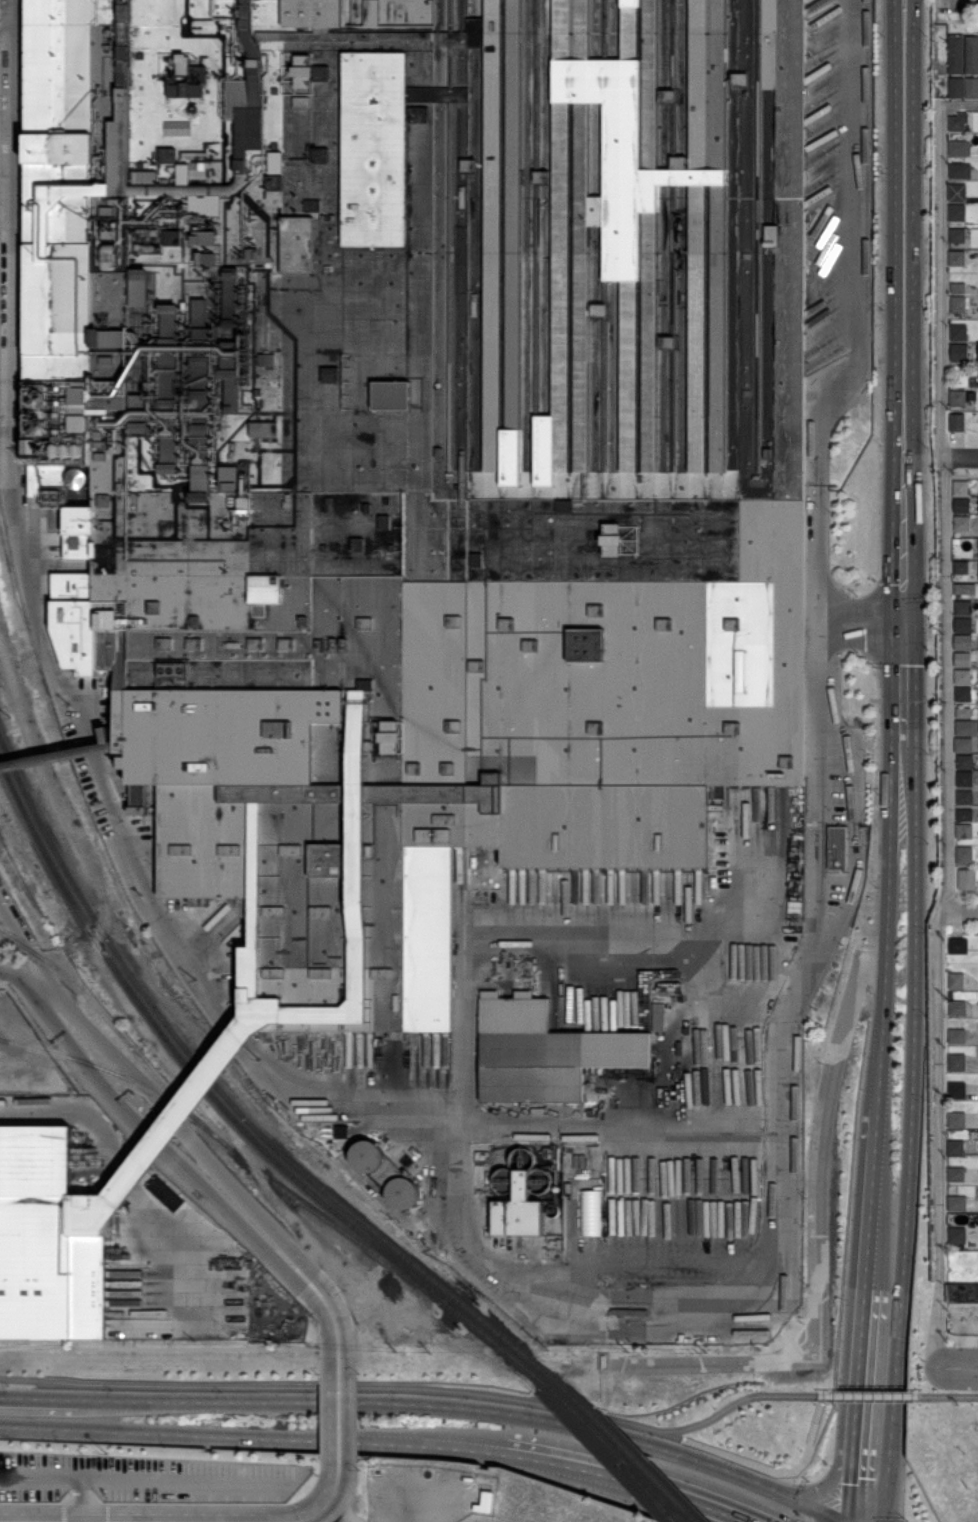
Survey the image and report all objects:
road: (960, 0)
building: (957, 54)
building: (972, 55)
building: (928, 65)
building: (957, 88)
building: (972, 88)
building: (923, 95)
road: (960, 103)
building: (957, 124)
building: (960, 148)
building: (960, 171)
building: (958, 192)
building: (957, 212)
building: (958, 235)
building: (958, 258)
building: (959, 288)
building: (959, 305)
road: (821, 307)
road: (902, 307)
building: (960, 332)
building: (960, 353)
building: (976, 353)
building: (959, 399)
building: (958, 422)
building: (421, 444)
road: (961, 458)
building: (961, 488)
building: (963, 505)
road: (944, 507)
building: (961, 522)
building: (959, 534)
building: (960, 566)
building: (966, 589)
building: (964, 608)
road: (860, 615)
traffic signals: (902, 615)
building: (963, 625)
building: (962, 641)
building: (963, 659)
building: (961, 676)
road: (902, 680)
road: (826, 682)
building: (963, 694)
building: (964, 712)
building: (967, 728)
building: (964, 745)
road: (105, 750)
road: (902, 759)
building: (966, 762)
building: (966, 779)
building: (966, 797)
building: (965, 815)
building: (965, 831)
building: (837, 847)
building: (966, 854)
building: (968, 880)
parking lot: (4, 883)
road: (830, 911)
road: (957, 911)
railway: (98, 920)
railway: (95, 933)
road: (526, 934)
road: (19, 935)
road: (882, 938)
building: (956, 945)
parking lot: (1, 965)
road: (20, 967)
building: (957, 981)
building: (958, 1007)
building: (658, 1016)
road: (233, 1036)
building: (958, 1036)
railway: (135, 1052)
building: (957, 1063)
building: (532, 1067)
railway: (123, 1075)
building: (958, 1091)
building: (958, 1119)
road: (599, 1129)
road: (938, 1139)
road: (870, 1146)
road: (907, 1146)
building: (956, 1148)
road: (200, 1157)
road: (124, 1162)
building: (385, 1174)
building: (957, 1174)
road: (106, 1193)
parking lot: (668, 1195)
building: (958, 1203)
building: (519, 1211)
building: (590, 1211)
building: (954, 1218)
road: (865, 1235)
building: (957, 1235)
railway: (385, 1236)
railway: (357, 1237)
road: (818, 1237)
building: (49, 1241)
railway: (377, 1243)
building: (962, 1294)
road: (860, 1325)
road: (958, 1366)
road: (414, 1387)
railway: (504, 1388)
railway: (491, 1389)
road: (856, 1389)
road: (869, 1393)
road: (949, 1393)
road: (429, 1407)
road: (339, 1420)
road: (159, 1432)
road: (410, 1443)
railway: (622, 1446)
railway: (612, 1451)
road: (531, 1454)
road: (848, 1465)
road: (839, 1468)
railway: (584, 1471)
railway: (571, 1472)
road: (38, 1473)
road: (160, 1475)
parking lot: (141, 1480)
road: (652, 1486)
railway: (647, 1491)
traffic signals: (808, 1491)
road: (331, 1507)
traffic signals: (841, 1519)
road: (840, 1520)
road: (844, 1520)
road: (15, 1521)

